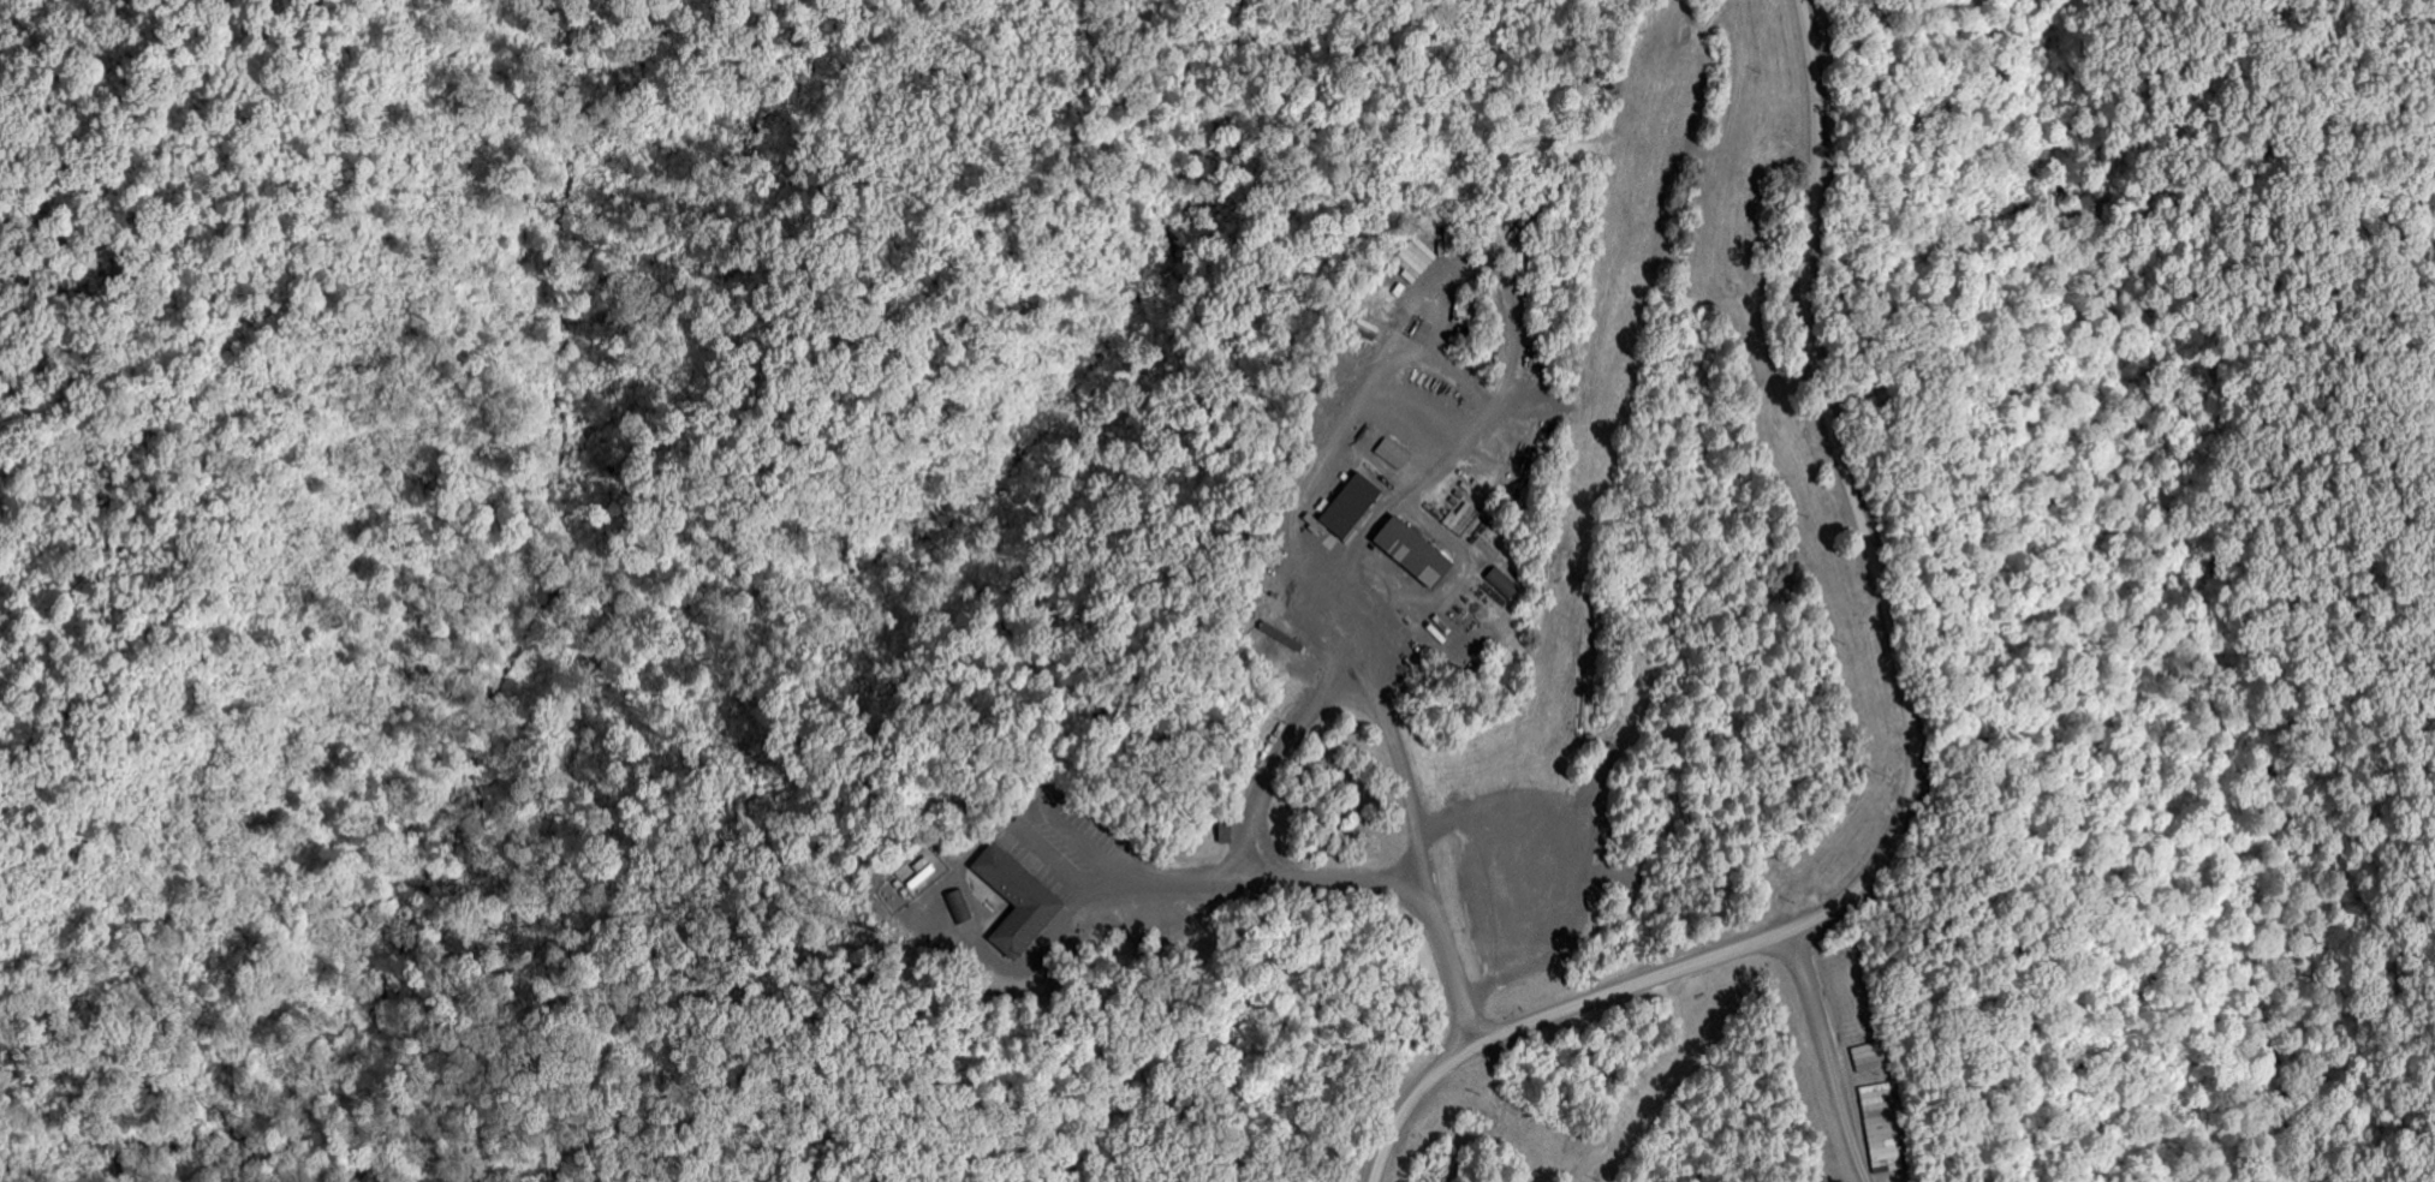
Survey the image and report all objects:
building: (1445, 243)
building: (1415, 258)
road: (1368, 396)
building: (1391, 453)
building: (1347, 506)
building: (1463, 518)
building: (1411, 553)
building: (1500, 581)
road: (1352, 681)
road: (1917, 740)
building: (1228, 826)
road: (1333, 877)
building: (1019, 900)
road: (940, 906)
building: (959, 906)
building: (1149, 919)
road: (1826, 1056)

